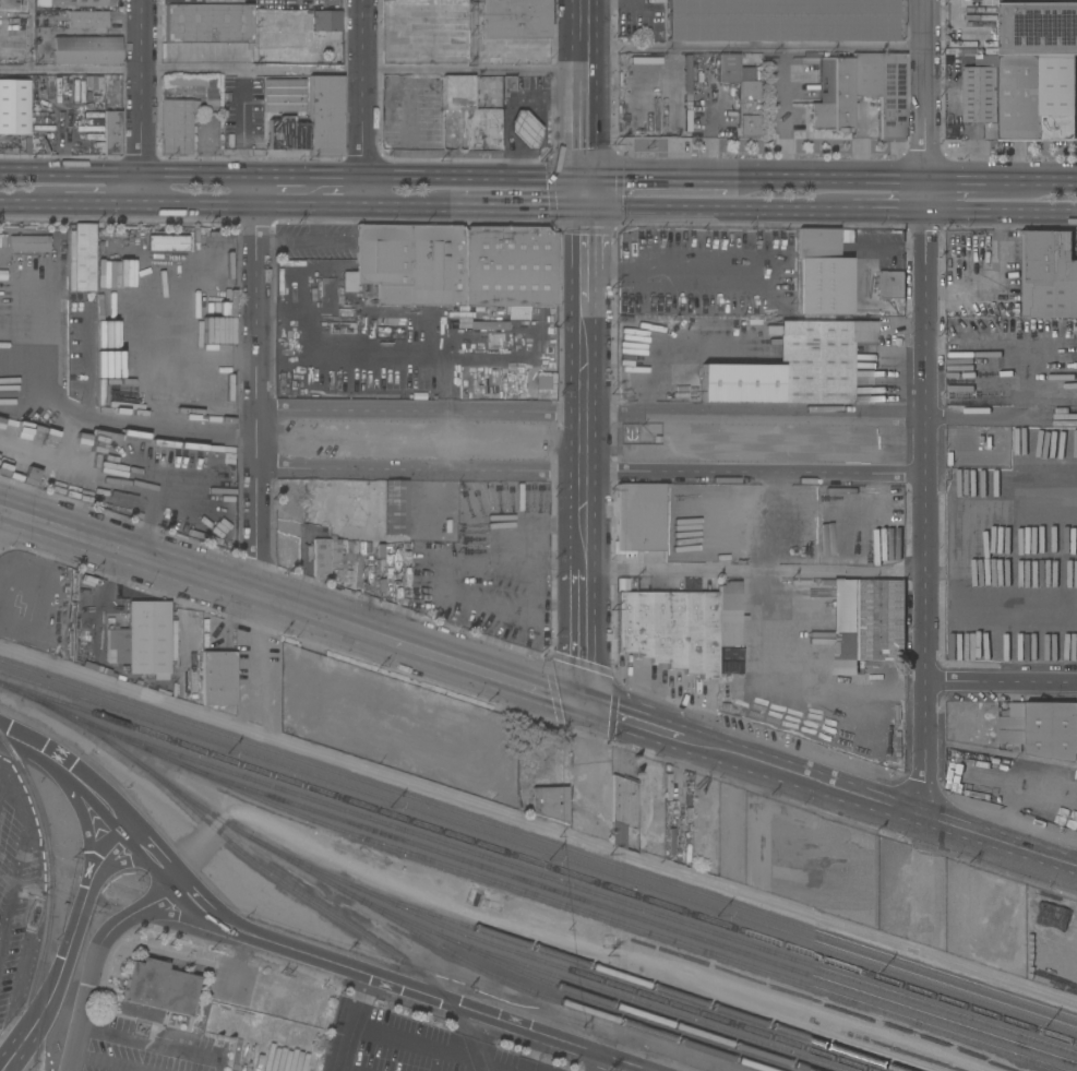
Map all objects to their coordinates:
building: (82, 2)
building: (201, 2)
road: (318, 2)
building: (86, 19)
building: (264, 19)
building: (516, 19)
building: (779, 20)
building: (287, 21)
building: (207, 23)
building: (972, 23)
building: (1038, 27)
building: (326, 32)
road: (471, 35)
road: (584, 35)
road: (28, 36)
road: (755, 48)
building: (86, 50)
building: (11, 56)
road: (291, 71)
building: (864, 74)
building: (686, 78)
building: (195, 85)
building: (507, 85)
road: (142, 86)
road: (364, 87)
building: (980, 90)
building: (740, 91)
building: (283, 95)
building: (110, 96)
building: (833, 96)
building: (891, 96)
building: (1026, 103)
building: (14, 107)
building: (471, 114)
building: (324, 115)
road: (584, 123)
building: (176, 126)
building: (525, 130)
building: (111, 132)
building: (286, 134)
building: (9, 150)
road: (129, 172)
road: (285, 175)
road: (338, 175)
road: (474, 176)
traffic signals: (584, 177)
road: (670, 177)
road: (841, 179)
road: (983, 180)
road: (1058, 181)
road: (583, 192)
road: (17, 202)
road: (87, 203)
road: (198, 205)
road: (287, 206)
road: (342, 207)
road: (398, 207)
road: (506, 207)
traffic signals: (583, 209)
road: (702, 210)
road: (874, 212)
road: (1002, 214)
road: (315, 225)
road: (286, 242)
road: (332, 242)
building: (28, 243)
building: (159, 246)
building: (218, 246)
building: (84, 258)
road: (583, 259)
building: (455, 265)
building: (822, 274)
building: (1048, 275)
road: (993, 278)
building: (890, 284)
road: (164, 317)
building: (495, 341)
road: (210, 350)
building: (793, 366)
building: (505, 382)
road: (928, 410)
road: (653, 415)
road: (87, 421)
road: (586, 426)
road: (259, 455)
road: (99, 466)
road: (593, 471)
building: (395, 508)
building: (638, 517)
building: (740, 552)
road: (959, 554)
building: (320, 558)
road: (189, 572)
road: (757, 572)
building: (728, 597)
building: (188, 620)
building: (859, 621)
road: (587, 623)
building: (670, 630)
building: (147, 639)
building: (116, 645)
building: (721, 663)
road: (483, 669)
building: (217, 678)
road: (1002, 683)
building: (189, 686)
road: (800, 697)
traffic signals: (587, 703)
road: (655, 726)
building: (1051, 729)
building: (1012, 730)
road: (71, 772)
road: (825, 786)
building: (547, 802)
building: (620, 809)
road: (80, 813)
road: (537, 825)
railway: (211, 828)
railway: (538, 838)
road: (1002, 840)
road: (1002, 846)
railway: (538, 849)
road: (119, 860)
railway: (538, 861)
road: (16, 867)
road: (181, 883)
railway: (581, 889)
railway: (525, 892)
railway: (53, 896)
railway: (380, 913)
railway: (626, 915)
road: (182, 916)
railway: (351, 928)
road: (1, 940)
road: (67, 949)
road: (97, 959)
road: (240, 964)
railway: (554, 965)
railway: (626, 978)
building: (158, 987)
railway: (569, 990)
road: (418, 991)
railway: (35, 993)
railway: (639, 1003)
road: (350, 1022)
road: (467, 1033)
railway: (854, 1042)
road: (153, 1044)
road: (438, 1049)
road: (108, 1061)
road: (596, 1063)
road: (621, 1063)
railway: (1039, 1064)

